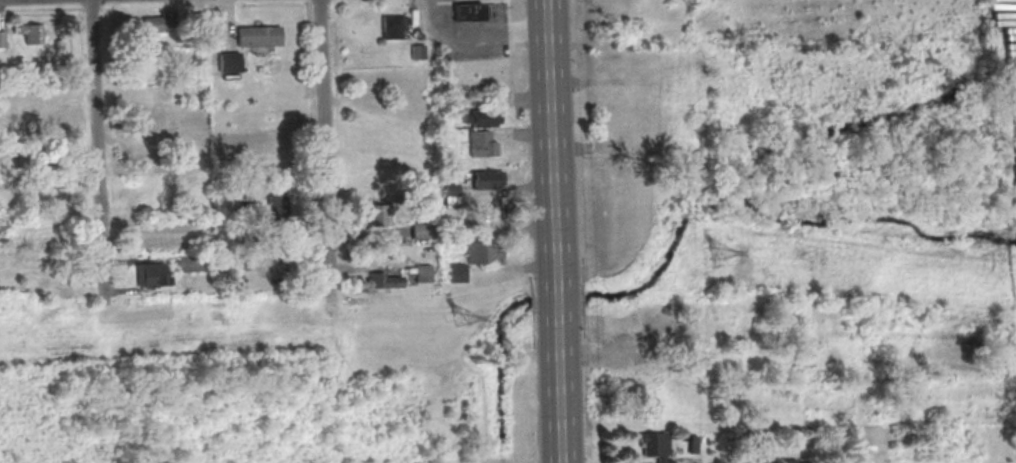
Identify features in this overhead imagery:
building: (468, 12)
building: (158, 22)
building: (394, 26)
building: (32, 33)
building: (257, 33)
road: (478, 33)
building: (2, 38)
building: (227, 59)
building: (481, 118)
building: (632, 122)
road: (549, 133)
building: (482, 143)
road: (322, 150)
road: (95, 155)
building: (487, 179)
building: (450, 193)
building: (274, 207)
building: (378, 215)
building: (421, 230)
power tower: (717, 250)
building: (483, 254)
building: (188, 263)
building: (455, 272)
building: (422, 273)
building: (153, 274)
building: (385, 280)
road: (555, 304)
power tower: (461, 316)
building: (649, 374)
road: (558, 402)
building: (656, 445)
building: (790, 461)

